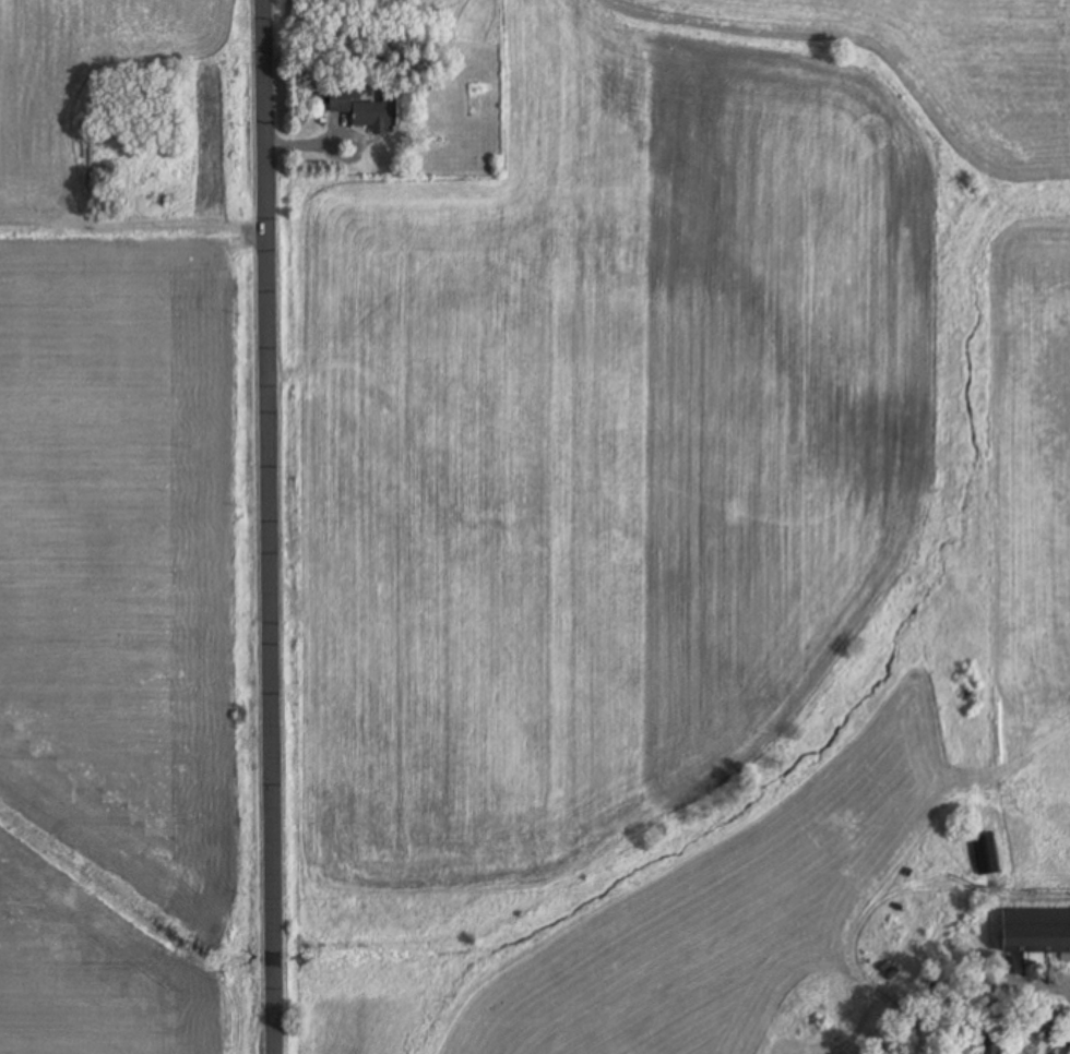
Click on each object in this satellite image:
building: (365, 108)
road: (267, 527)
crop: (130, 530)
building: (1036, 931)
building: (992, 1040)

